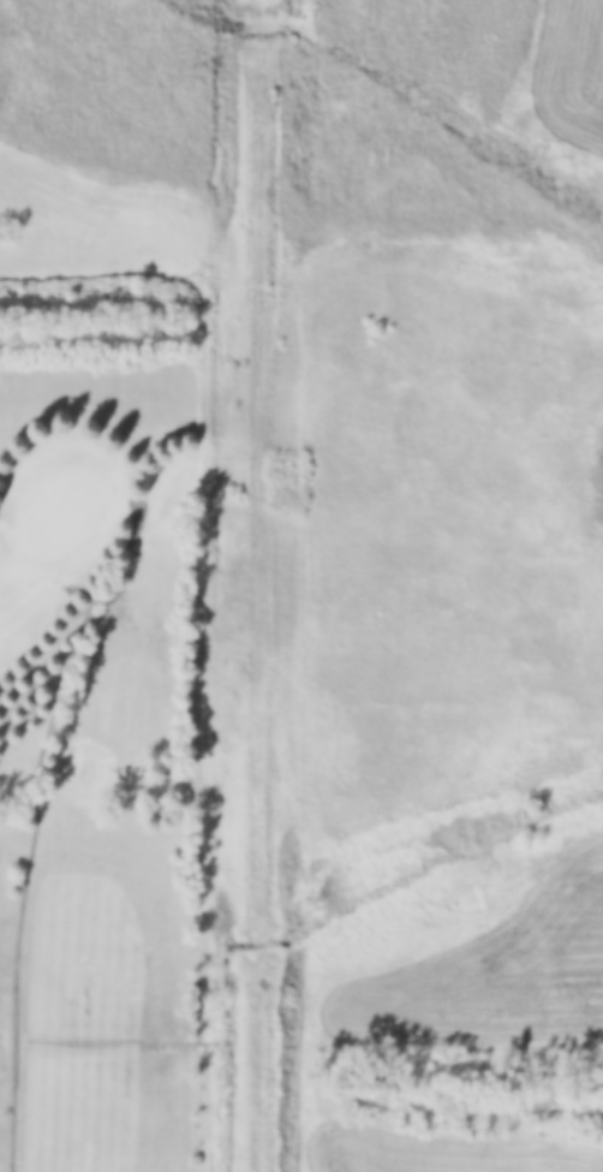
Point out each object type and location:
park: (143, 731)
road: (16, 987)

